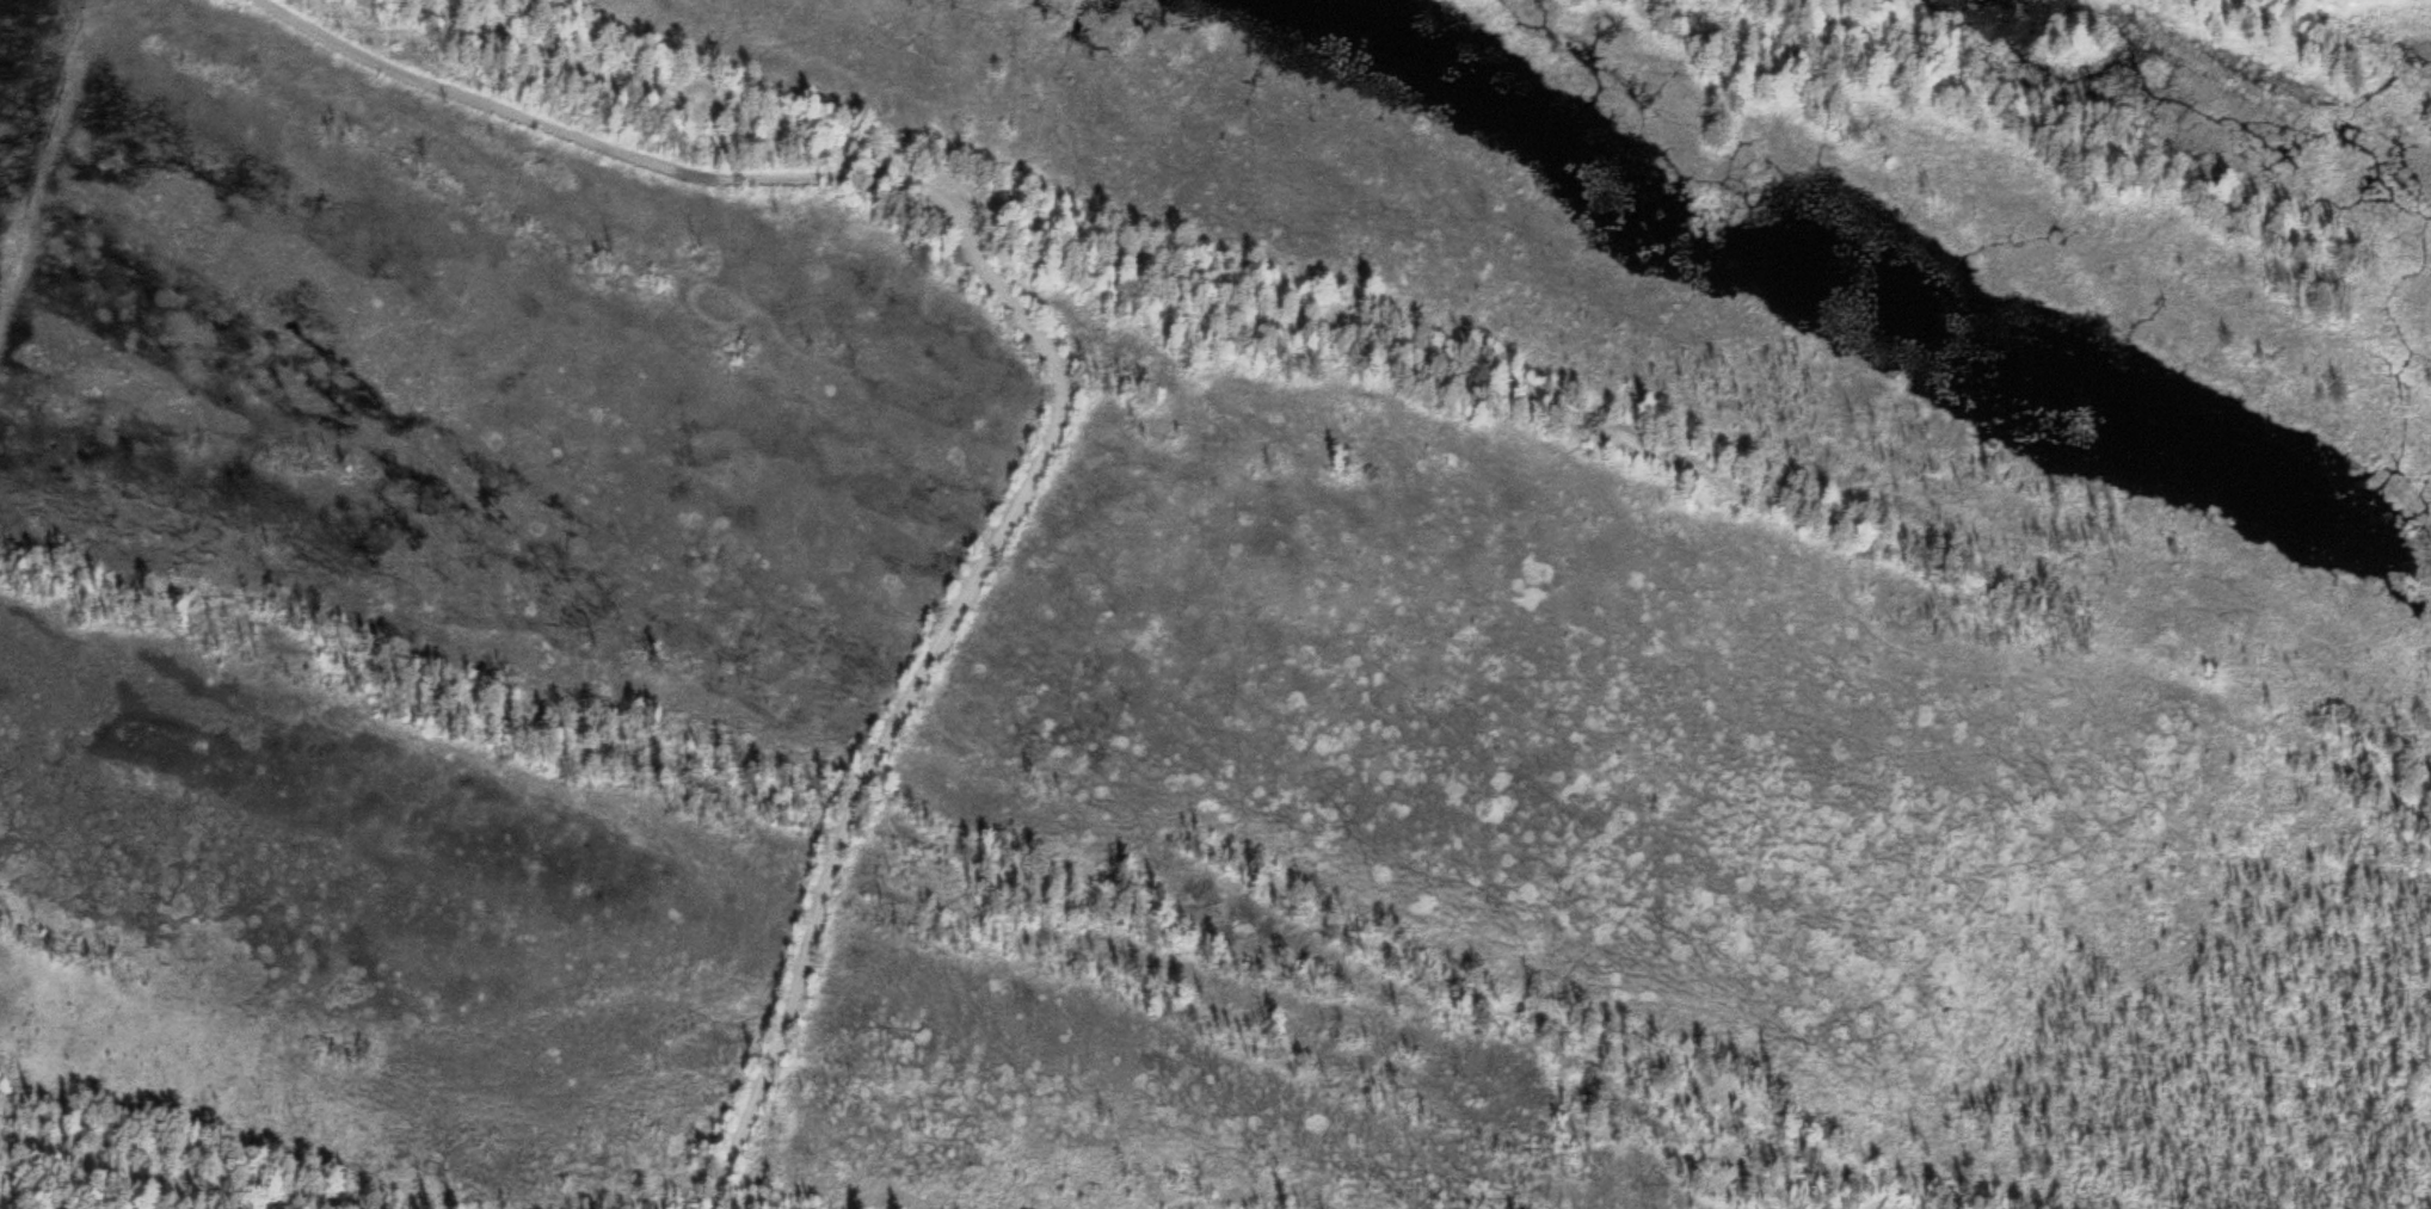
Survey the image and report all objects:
road: (1048, 365)

